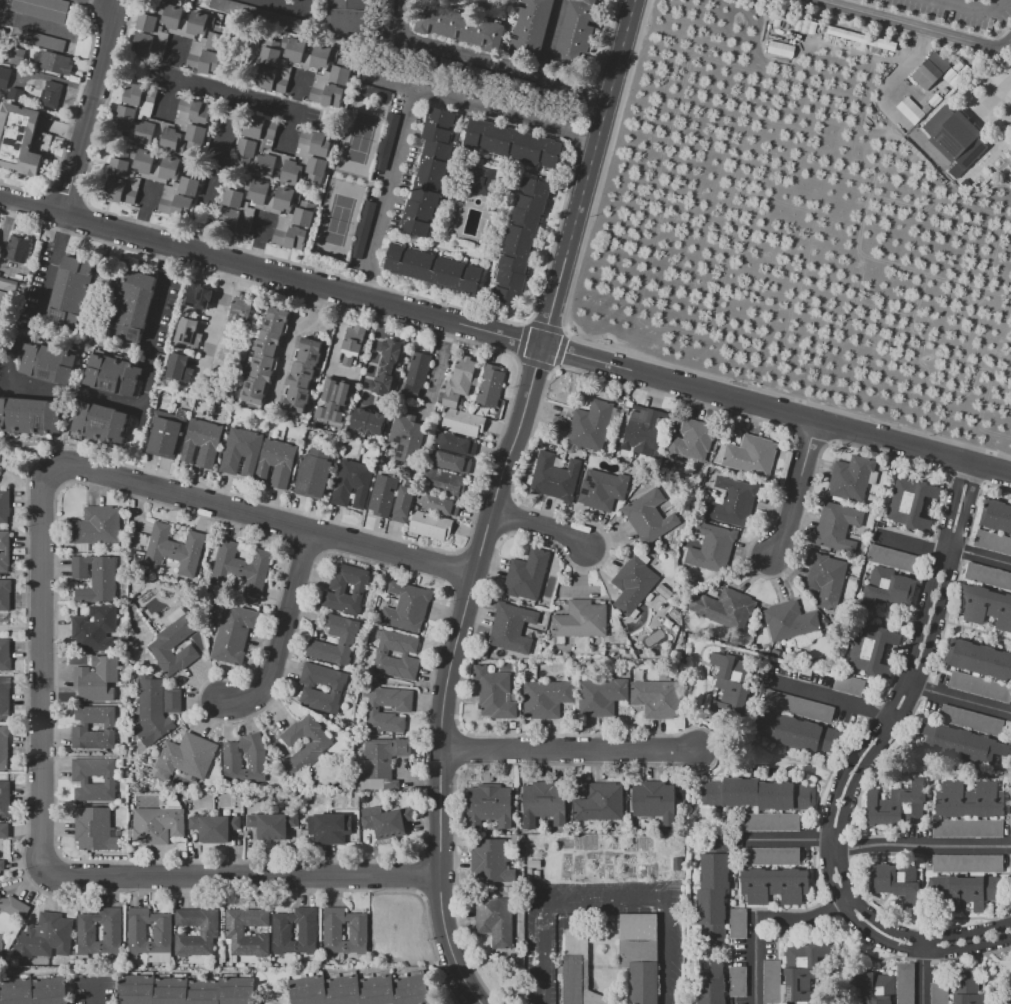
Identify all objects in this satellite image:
road: (946, 1)
road: (100, 3)
road: (111, 3)
road: (285, 4)
road: (303, 4)
road: (964, 6)
road: (997, 6)
building: (43, 8)
parking lot: (957, 11)
building: (170, 15)
building: (349, 19)
building: (146, 22)
building: (200, 22)
road: (35, 25)
building: (458, 25)
road: (913, 27)
building: (530, 29)
building: (573, 35)
building: (852, 35)
building: (41, 40)
building: (215, 40)
road: (551, 44)
building: (146, 46)
building: (293, 49)
building: (781, 49)
building: (270, 53)
building: (14, 56)
building: (323, 56)
building: (204, 62)
building: (54, 63)
road: (481, 65)
building: (929, 69)
building: (0, 70)
building: (340, 71)
building: (271, 80)
building: (372, 92)
building: (138, 93)
building: (15, 95)
building: (50, 95)
road: (228, 95)
building: (327, 95)
road: (1004, 98)
road: (167, 99)
road: (883, 99)
road: (990, 100)
road: (485, 102)
building: (196, 109)
road: (87, 110)
building: (912, 110)
building: (125, 114)
building: (259, 126)
building: (142, 133)
building: (196, 134)
park: (362, 138)
building: (954, 138)
building: (18, 139)
building: (171, 141)
building: (385, 141)
building: (316, 142)
building: (513, 146)
building: (246, 149)
building: (142, 160)
building: (263, 165)
building: (317, 166)
building: (119, 167)
building: (172, 167)
building: (429, 172)
building: (292, 173)
road: (218, 174)
road: (587, 174)
building: (483, 181)
building: (188, 185)
road: (384, 190)
building: (119, 191)
building: (257, 191)
building: (233, 197)
building: (286, 198)
building: (176, 206)
road: (144, 208)
building: (304, 215)
park: (339, 218)
building: (234, 222)
building: (361, 228)
building: (290, 237)
building: (519, 241)
building: (16, 249)
road: (53, 265)
building: (77, 265)
building: (432, 269)
building: (0, 273)
building: (8, 285)
building: (71, 292)
building: (198, 296)
building: (133, 305)
building: (4, 307)
building: (241, 309)
road: (214, 317)
road: (151, 326)
building: (188, 333)
road: (296, 336)
road: (504, 338)
road: (335, 341)
building: (352, 343)
road: (372, 351)
building: (264, 357)
building: (46, 364)
building: (179, 367)
building: (386, 367)
building: (418, 369)
road: (436, 370)
building: (302, 374)
building: (112, 375)
building: (459, 380)
road: (34, 384)
building: (490, 390)
building: (334, 399)
building: (30, 416)
building: (367, 421)
building: (99, 422)
building: (462, 422)
building: (589, 425)
building: (645, 430)
building: (158, 433)
building: (171, 437)
building: (192, 439)
building: (691, 441)
building: (410, 443)
building: (455, 444)
building: (209, 445)
building: (234, 450)
building: (251, 454)
building: (750, 456)
building: (266, 459)
building: (450, 461)
building: (283, 465)
building: (308, 469)
building: (321, 474)
building: (446, 477)
building: (555, 477)
building: (851, 478)
building: (345, 482)
building: (362, 485)
building: (444, 487)
building: (602, 489)
road: (797, 491)
building: (383, 495)
building: (733, 502)
building: (404, 504)
building: (438, 504)
building: (911, 504)
building: (4, 505)
building: (996, 515)
building: (648, 516)
road: (258, 517)
building: (98, 525)
building: (430, 525)
road: (539, 526)
building: (837, 526)
building: (993, 542)
road: (908, 543)
building: (711, 548)
building: (174, 549)
building: (4, 551)
building: (895, 558)
road: (982, 558)
building: (240, 568)
building: (527, 574)
building: (988, 575)
building: (96, 578)
building: (826, 579)
building: (632, 584)
building: (886, 588)
building: (338, 589)
building: (4, 594)
building: (407, 606)
building: (986, 606)
building: (725, 608)
building: (581, 619)
building: (789, 620)
building: (94, 628)
building: (511, 628)
road: (278, 632)
building: (233, 634)
building: (345, 642)
building: (162, 644)
building: (872, 648)
building: (4, 655)
building: (381, 655)
building: (979, 659)
road: (41, 671)
road: (449, 674)
building: (97, 679)
building: (848, 684)
building: (980, 686)
building: (728, 687)
building: (337, 688)
building: (494, 693)
road: (826, 693)
building: (601, 696)
building: (546, 698)
building: (657, 698)
building: (5, 699)
road: (961, 699)
building: (797, 706)
building: (156, 708)
building: (403, 709)
building: (972, 720)
building: (81, 728)
building: (798, 733)
building: (961, 742)
building: (3, 745)
building: (305, 745)
road: (569, 748)
building: (186, 757)
road: (864, 759)
building: (245, 760)
building: (382, 762)
road: (843, 767)
building: (80, 778)
building: (757, 793)
building: (663, 798)
building: (5, 799)
building: (642, 799)
building: (969, 799)
building: (543, 803)
building: (599, 804)
building: (477, 805)
building: (499, 805)
building: (897, 805)
building: (770, 822)
building: (158, 823)
building: (388, 823)
building: (272, 825)
building: (215, 827)
building: (329, 828)
building: (968, 828)
building: (95, 829)
building: (4, 830)
road: (789, 840)
road: (923, 844)
building: (771, 856)
building: (491, 860)
building: (967, 864)
building: (2, 865)
road: (243, 875)
building: (896, 880)
building: (774, 886)
building: (964, 890)
building: (712, 898)
road: (603, 904)
building: (14, 907)
building: (495, 919)
road: (760, 920)
building: (737, 923)
building: (235, 929)
building: (209, 930)
building: (112, 932)
building: (136, 932)
building: (282, 932)
building: (331, 932)
building: (44, 937)
building: (1, 945)
road: (586, 954)
building: (640, 955)
parking lot: (542, 966)
road: (624, 967)
building: (578, 970)
road: (920, 970)
building: (802, 973)
building: (738, 981)
building: (772, 982)
building: (905, 983)
building: (712, 985)
building: (875, 987)
building: (969, 988)
parking lot: (94, 990)
building: (184, 990)
building: (359, 990)
building: (34, 991)
road: (94, 992)
building: (938, 993)
road: (600, 997)
road: (622, 998)

